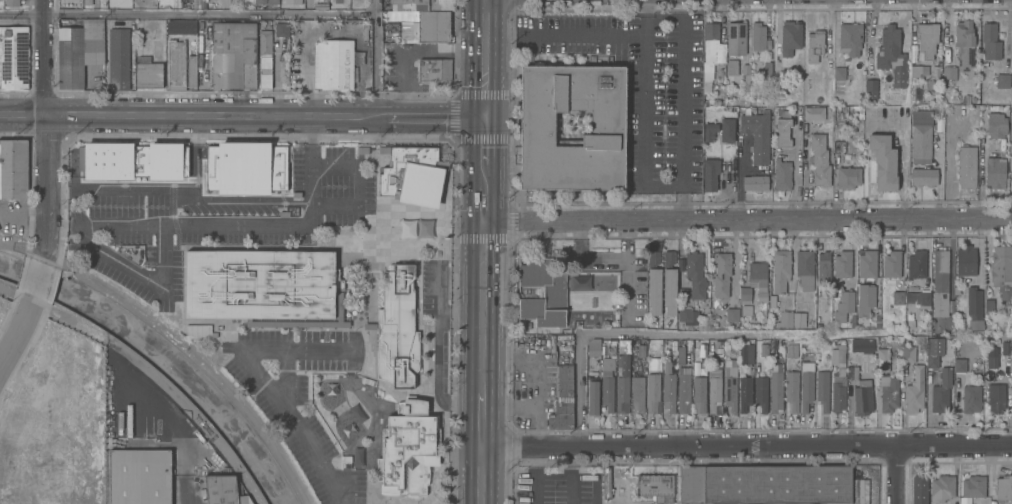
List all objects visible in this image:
building: (12, 2)
building: (87, 2)
building: (272, 2)
building: (259, 4)
building: (421, 5)
road: (186, 14)
building: (181, 26)
building: (433, 26)
building: (281, 29)
building: (757, 36)
road: (581, 37)
building: (789, 37)
building: (737, 38)
building: (849, 38)
building: (926, 38)
building: (96, 41)
building: (990, 41)
building: (265, 42)
building: (814, 45)
building: (964, 46)
building: (72, 51)
road: (413, 51)
building: (709, 54)
building: (219, 55)
building: (241, 55)
building: (891, 55)
building: (13, 57)
road: (374, 57)
road: (483, 57)
building: (118, 58)
building: (143, 58)
building: (175, 64)
building: (332, 64)
building: (780, 66)
building: (191, 67)
building: (732, 67)
building: (433, 69)
building: (915, 70)
building: (264, 72)
building: (767, 72)
building: (839, 72)
building: (751, 74)
building: (148, 75)
building: (950, 76)
building: (745, 77)
building: (1002, 80)
parking lot: (638, 85)
building: (870, 89)
building: (813, 113)
road: (241, 114)
building: (859, 119)
building: (537, 123)
building: (991, 123)
road: (43, 130)
building: (720, 130)
building: (783, 131)
building: (756, 135)
building: (920, 137)
road: (482, 140)
road: (311, 141)
building: (996, 144)
building: (819, 159)
road: (901, 159)
building: (135, 160)
building: (882, 161)
building: (966, 166)
building: (13, 168)
building: (224, 168)
building: (263, 168)
building: (392, 171)
building: (995, 172)
building: (710, 173)
building: (781, 174)
road: (804, 174)
road: (482, 177)
building: (847, 177)
building: (923, 177)
building: (754, 182)
road: (668, 185)
road: (104, 190)
road: (482, 205)
road: (747, 221)
road: (268, 223)
building: (405, 229)
building: (423, 229)
road: (21, 245)
road: (792, 250)
building: (965, 260)
building: (842, 263)
building: (866, 264)
building: (891, 264)
building: (916, 264)
building: (804, 265)
building: (823, 267)
building: (780, 270)
building: (1002, 272)
building: (695, 274)
building: (721, 274)
building: (654, 277)
building: (758, 279)
road: (36, 281)
building: (602, 282)
building: (260, 283)
building: (579, 283)
building: (668, 283)
building: (940, 283)
building: (956, 290)
building: (541, 291)
building: (744, 295)
building: (898, 297)
building: (918, 299)
building: (864, 300)
building: (772, 301)
building: (973, 302)
building: (339, 304)
building: (987, 305)
building: (843, 306)
road: (482, 307)
building: (762, 309)
building: (745, 311)
building: (731, 314)
building: (687, 316)
building: (784, 319)
building: (798, 319)
building: (975, 324)
building: (369, 325)
building: (1011, 325)
building: (397, 328)
building: (195, 331)
road: (594, 332)
road: (14, 333)
building: (920, 339)
building: (862, 345)
building: (594, 347)
building: (1006, 347)
building: (733, 349)
building: (763, 349)
building: (701, 350)
building: (791, 350)
building: (641, 351)
building: (933, 351)
building: (745, 352)
building: (907, 354)
building: (680, 355)
building: (883, 359)
building: (990, 359)
building: (959, 365)
building: (590, 367)
building: (851, 372)
building: (838, 379)
building: (622, 384)
building: (806, 385)
building: (730, 388)
building: (775, 388)
building: (713, 389)
building: (791, 389)
building: (684, 390)
building: (822, 390)
building: (914, 390)
building: (668, 391)
building: (941, 391)
road: (267, 392)
building: (699, 392)
building: (606, 393)
building: (637, 393)
building: (652, 393)
building: (744, 393)
building: (760, 393)
building: (889, 395)
building: (593, 397)
building: (970, 398)
building: (996, 398)
building: (562, 400)
building: (862, 400)
building: (355, 414)
road: (483, 421)
building: (347, 427)
road: (747, 446)
building: (407, 448)
building: (356, 457)
building: (346, 458)
road: (535, 461)
road: (552, 474)
road: (898, 474)
building: (140, 476)
road: (482, 476)
road: (595, 476)
building: (692, 484)
building: (777, 484)
building: (654, 486)
building: (973, 486)
building: (1003, 487)
building: (941, 488)
road: (534, 489)
road: (569, 489)
building: (919, 489)
building: (222, 490)

